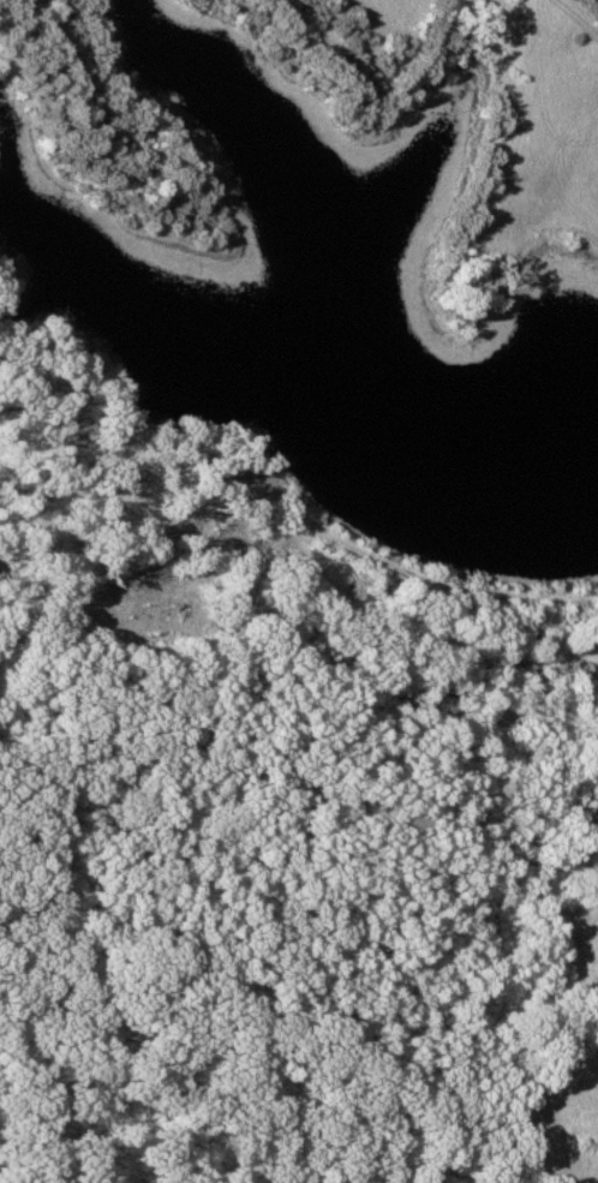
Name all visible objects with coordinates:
road: (324, 544)
road: (405, 638)

